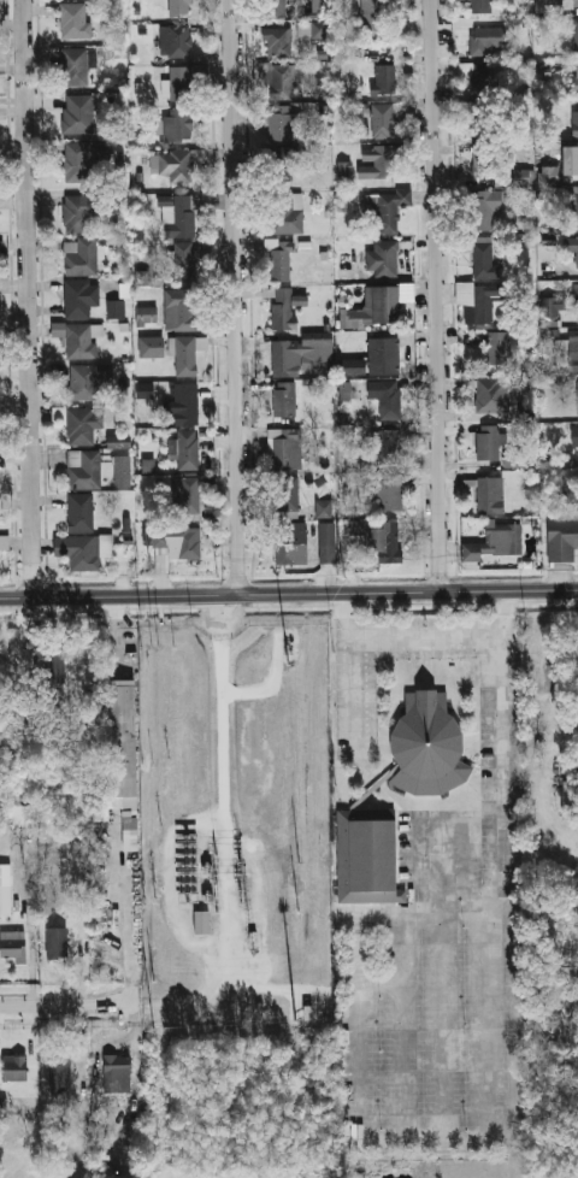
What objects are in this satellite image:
building: (554, 5)
building: (318, 6)
building: (480, 6)
building: (182, 7)
building: (276, 8)
building: (75, 20)
building: (373, 20)
building: (311, 29)
building: (572, 29)
building: (485, 39)
building: (175, 41)
building: (277, 42)
building: (75, 66)
building: (483, 72)
building: (576, 78)
building: (384, 79)
building: (181, 81)
building: (282, 81)
building: (78, 114)
building: (576, 118)
building: (383, 119)
building: (177, 124)
building: (281, 124)
building: (490, 142)
building: (87, 158)
building: (577, 159)
building: (175, 163)
building: (374, 163)
building: (281, 164)
building: (343, 169)
building: (485, 173)
building: (518, 176)
building: (548, 176)
building: (384, 202)
building: (572, 207)
building: (486, 208)
building: (79, 212)
building: (181, 213)
building: (287, 213)
building: (577, 252)
building: (81, 257)
building: (485, 258)
building: (279, 260)
building: (382, 260)
building: (183, 261)
building: (142, 277)
building: (124, 291)
road: (437, 294)
road: (238, 295)
building: (576, 295)
road: (30, 298)
building: (79, 298)
building: (477, 302)
building: (385, 305)
building: (114, 308)
building: (282, 308)
building: (181, 310)
building: (553, 310)
building: (147, 313)
building: (352, 319)
building: (77, 338)
building: (151, 347)
building: (499, 348)
building: (573, 351)
building: (384, 354)
building: (185, 355)
building: (287, 358)
building: (352, 366)
building: (88, 379)
building: (144, 390)
building: (344, 390)
building: (491, 394)
building: (577, 394)
building: (387, 396)
building: (284, 399)
building: (184, 404)
building: (525, 405)
building: (82, 423)
building: (576, 436)
building: (118, 442)
building: (488, 443)
building: (389, 446)
building: (285, 448)
building: (188, 450)
building: (148, 465)
building: (84, 469)
building: (122, 471)
building: (576, 490)
building: (388, 491)
building: (490, 494)
building: (185, 495)
building: (287, 496)
building: (323, 508)
building: (81, 512)
building: (562, 538)
building: (502, 540)
building: (4, 541)
building: (175, 541)
building: (390, 541)
building: (326, 542)
building: (290, 543)
building: (83, 549)
road: (289, 591)
road: (288, 602)
road: (402, 636)
building: (57, 664)
road: (356, 691)
building: (426, 746)
building: (119, 759)
building: (23, 814)
road: (447, 817)
power substation: (238, 826)
road: (249, 850)
building: (365, 855)
power tower: (242, 871)
road: (502, 883)
building: (4, 888)
power tower: (241, 896)
road: (129, 915)
building: (200, 921)
building: (57, 942)
building: (13, 943)
road: (66, 1006)
road: (360, 1029)
building: (14, 1066)
building: (60, 1071)
building: (117, 1073)
building: (2, 1105)

